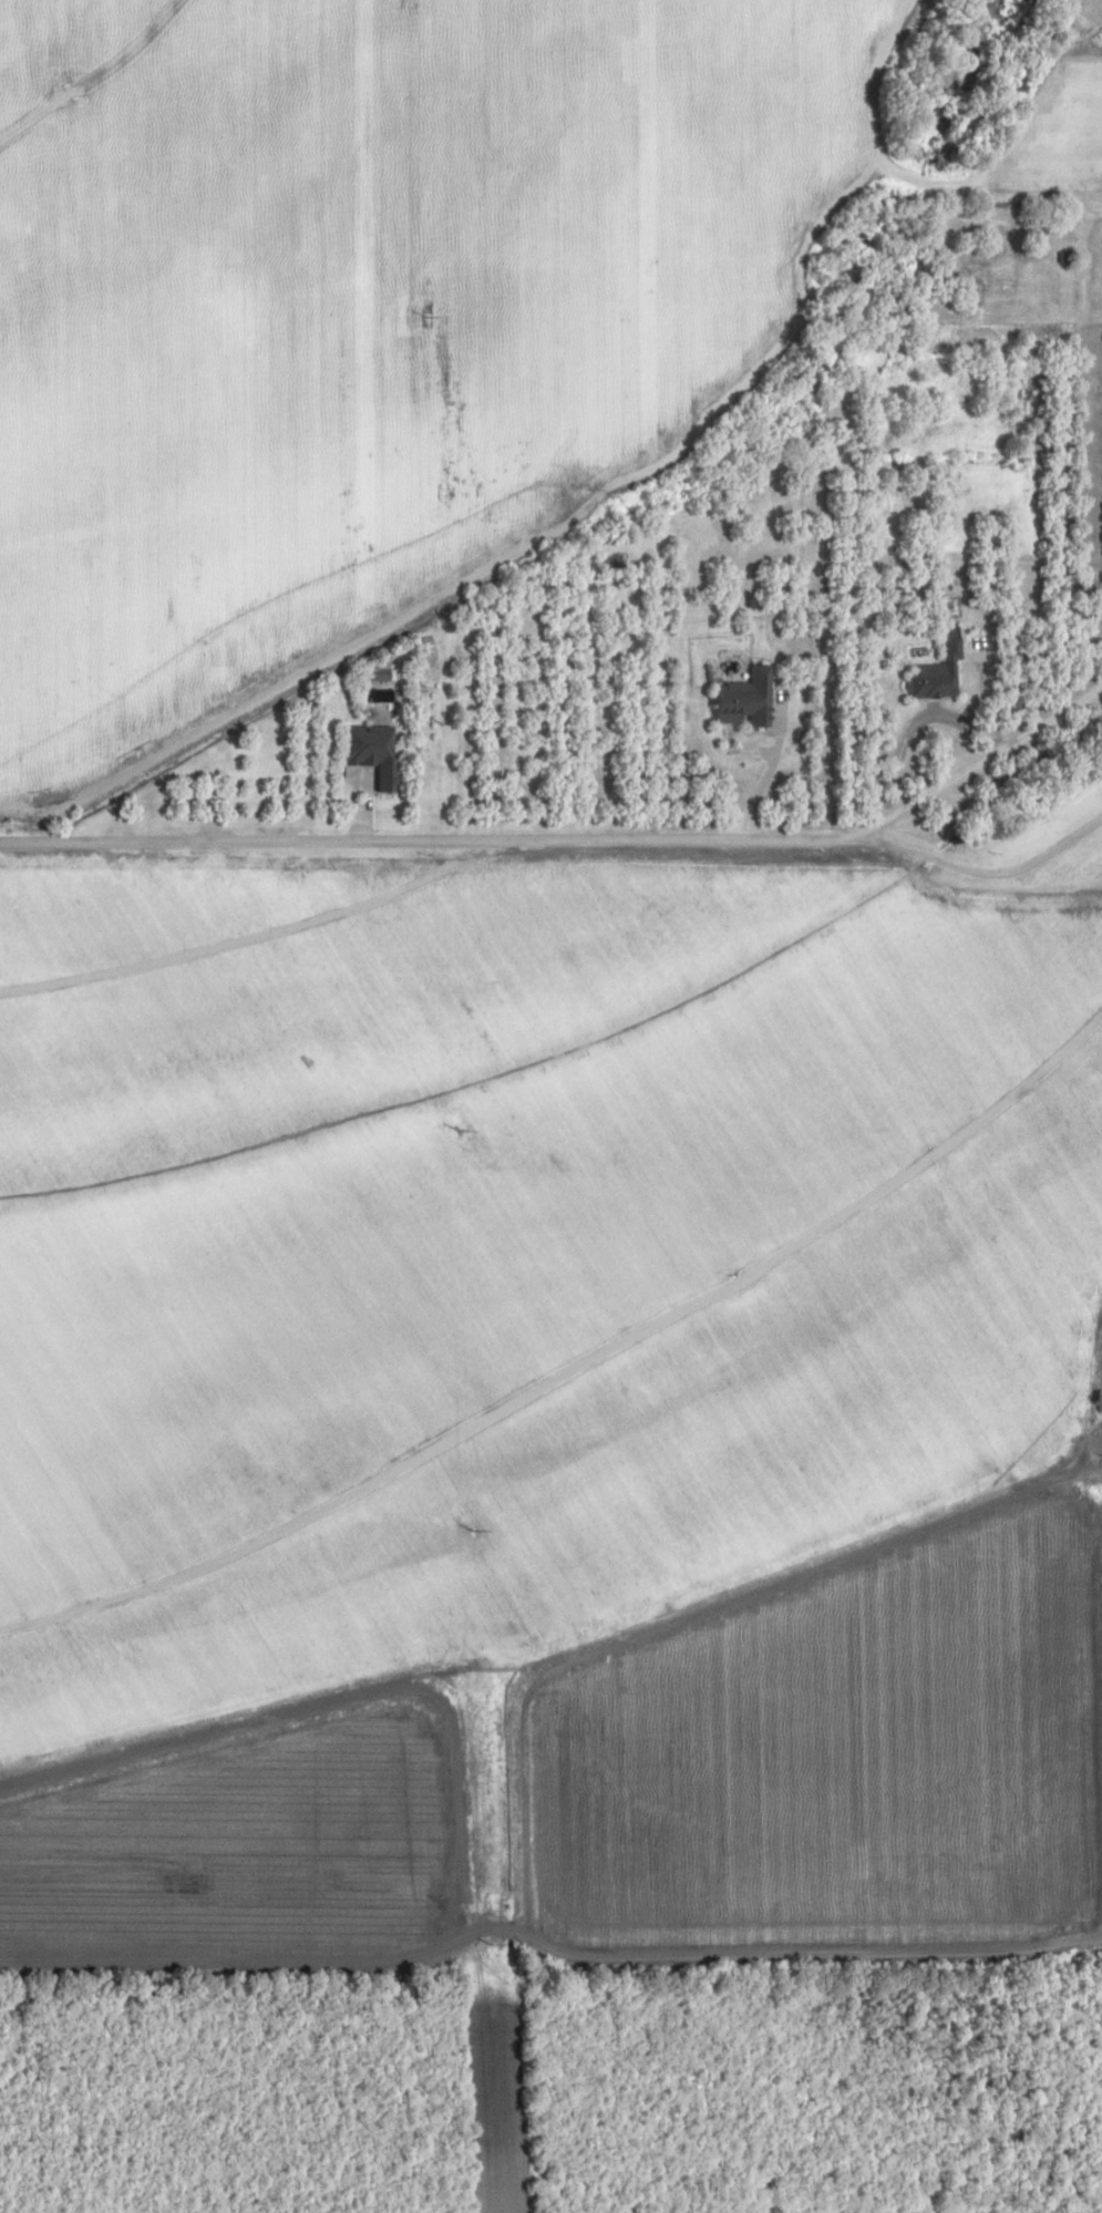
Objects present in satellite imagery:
building: (745, 698)
building: (373, 752)
road: (576, 840)
road: (985, 875)
building: (1000, 1050)
road: (580, 1381)
road: (550, 1959)

